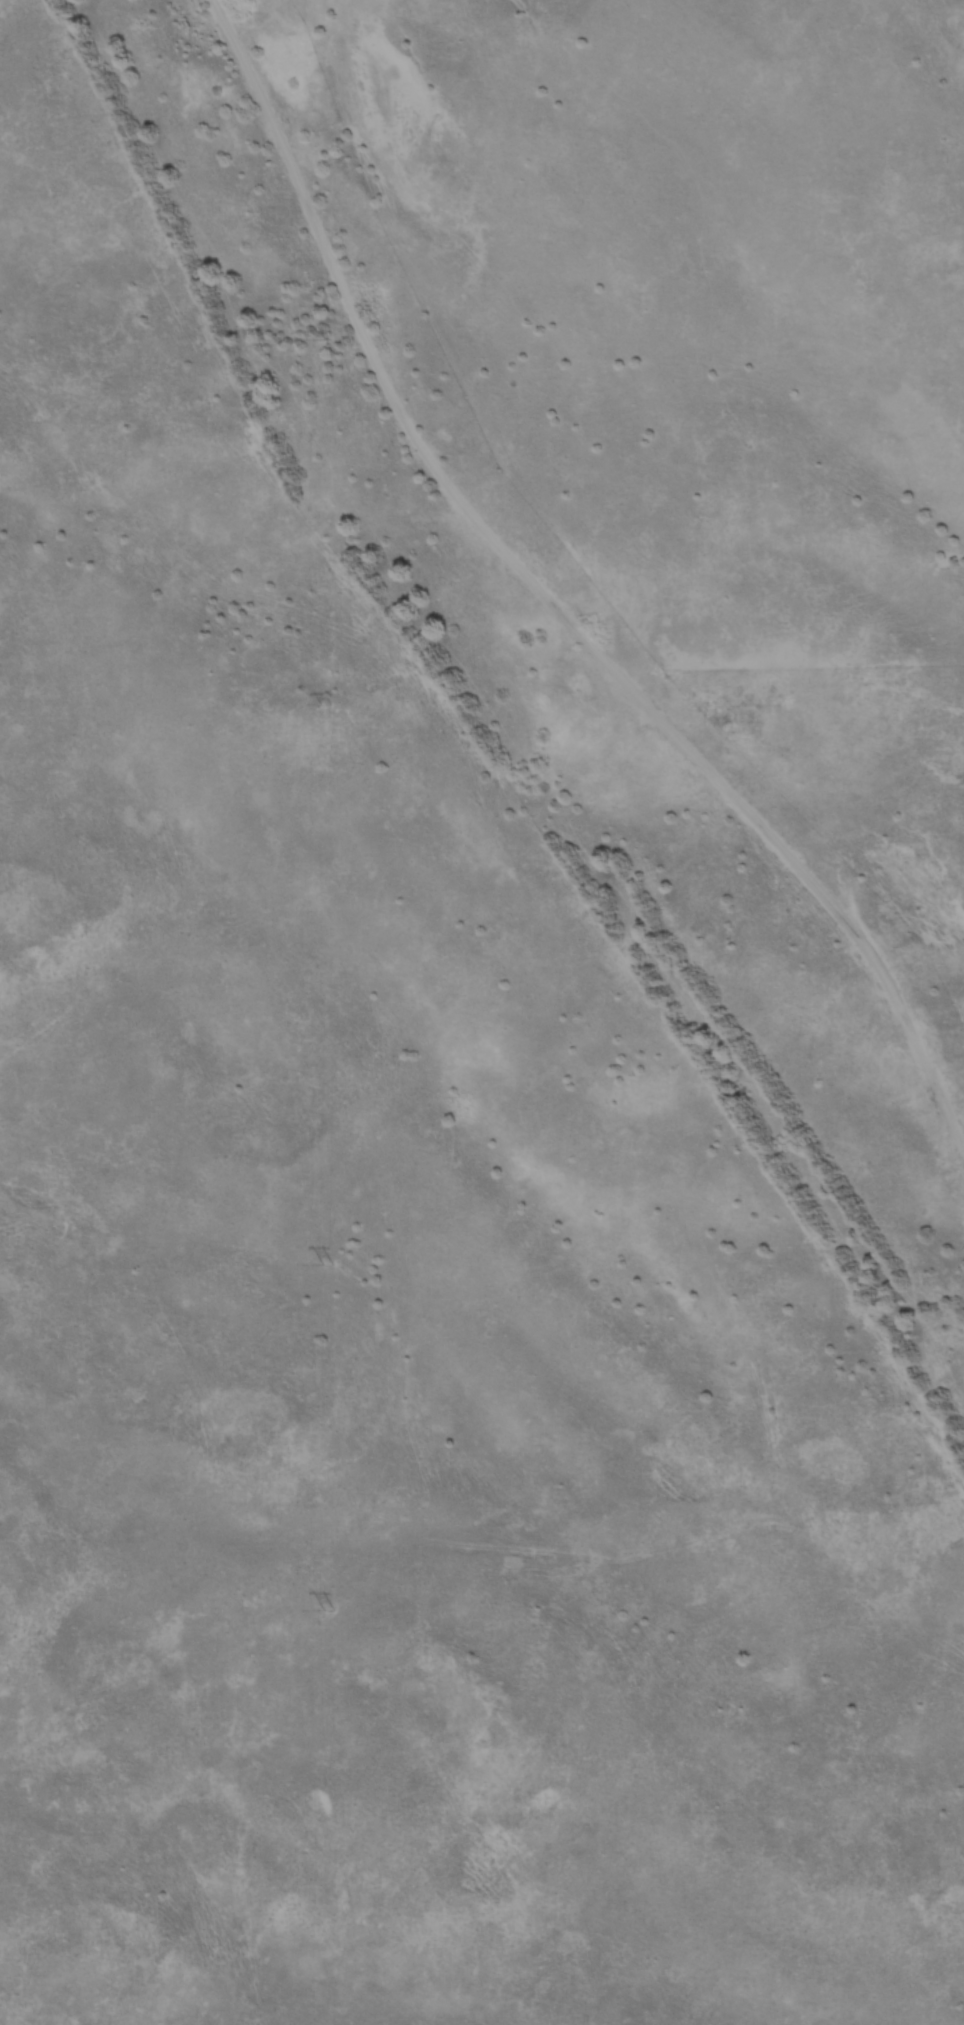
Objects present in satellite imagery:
power tower: (326, 340)
road: (552, 601)
power tower: (326, 704)
power tower: (328, 1265)
power tower: (329, 1611)

